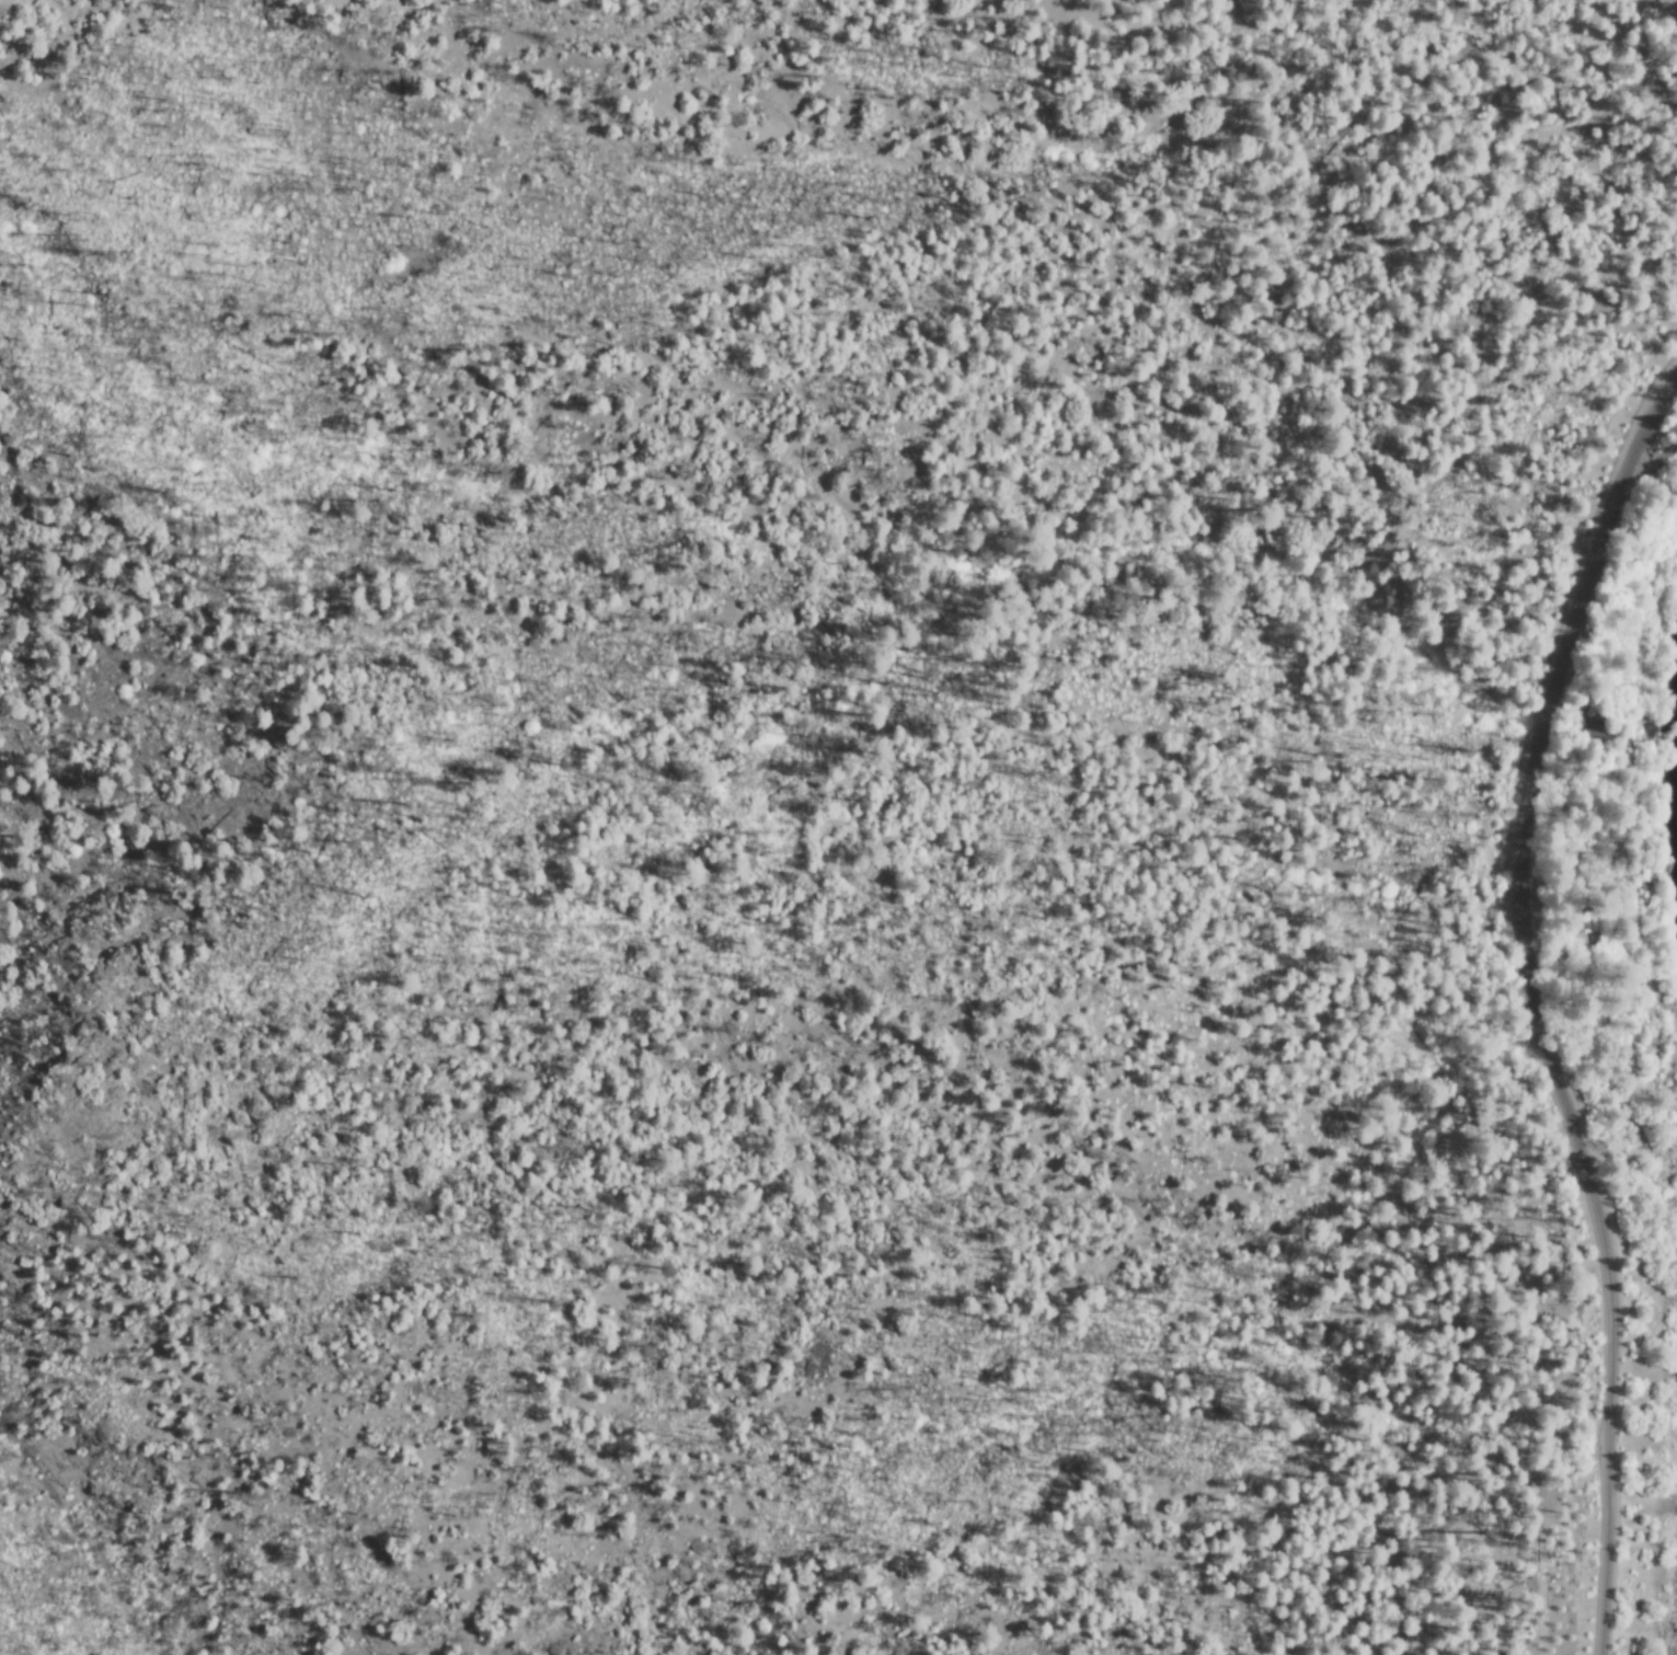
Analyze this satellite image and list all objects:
building: (1584, 922)
road: (1530, 1000)

